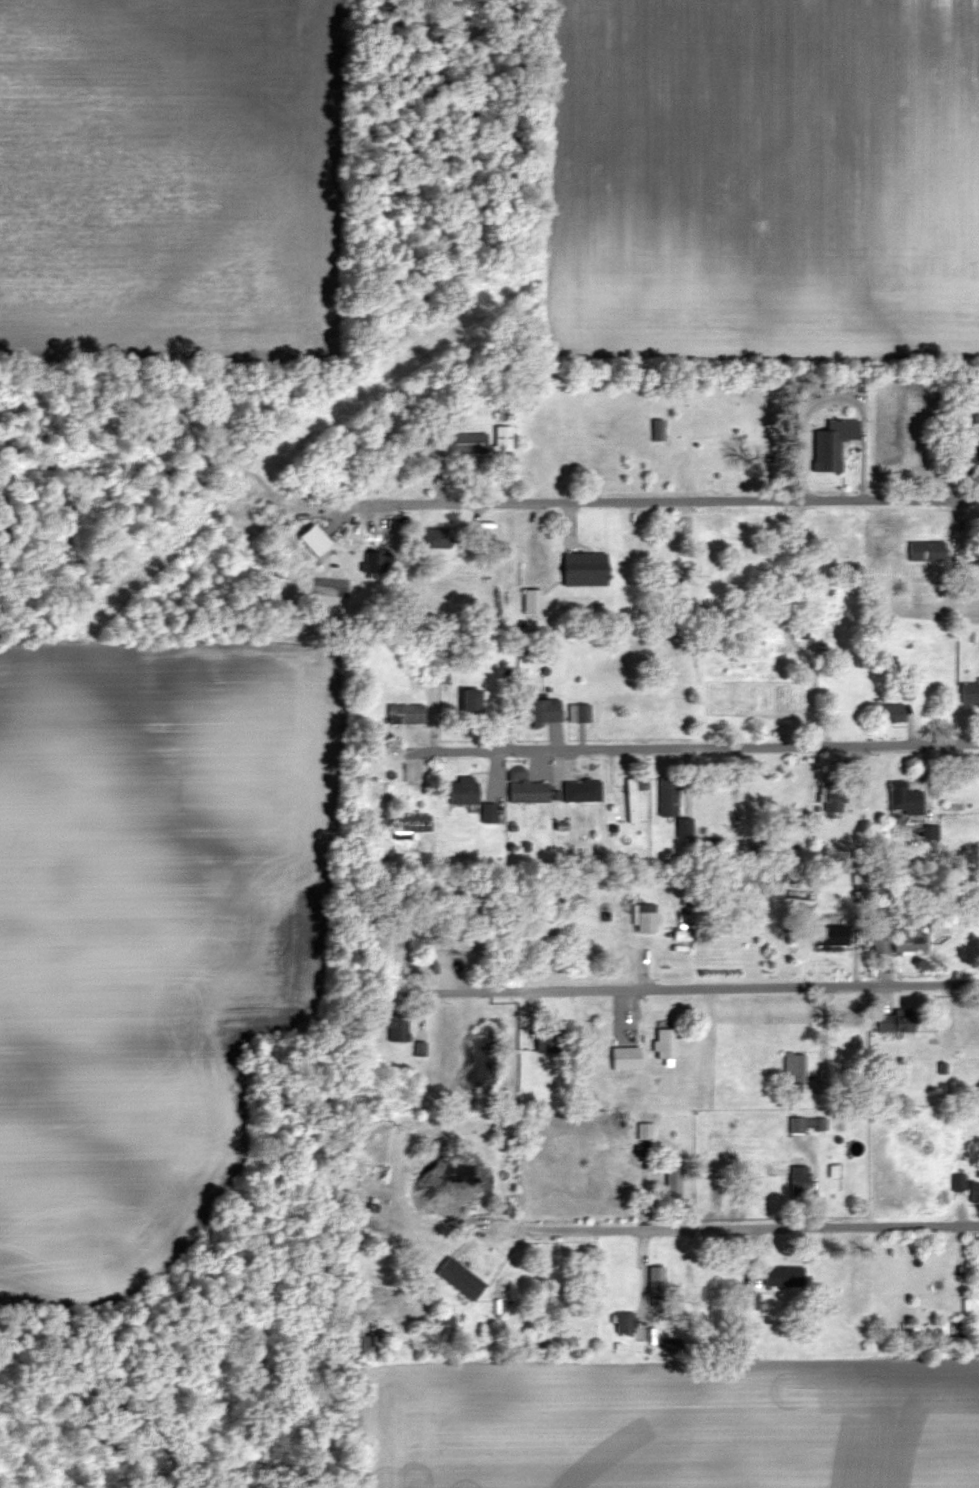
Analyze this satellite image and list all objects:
building: (504, 412)
building: (658, 430)
building: (503, 439)
building: (467, 444)
building: (827, 451)
building: (966, 456)
road: (682, 501)
building: (436, 538)
building: (926, 551)
building: (372, 563)
building: (585, 570)
building: (531, 602)
building: (969, 692)
building: (472, 701)
building: (541, 710)
building: (578, 712)
building: (890, 712)
building: (405, 713)
road: (703, 747)
building: (526, 786)
building: (464, 789)
building: (582, 790)
building: (668, 796)
building: (632, 799)
building: (833, 799)
building: (906, 799)
building: (488, 812)
building: (372, 823)
building: (412, 823)
building: (684, 827)
building: (645, 917)
building: (910, 936)
building: (880, 943)
road: (703, 989)
building: (895, 1020)
building: (396, 1026)
building: (549, 1040)
building: (666, 1043)
building: (625, 1058)
building: (794, 1069)
building: (807, 1124)
building: (644, 1131)
building: (958, 1182)
building: (673, 1183)
building: (799, 1183)
building: (974, 1191)
road: (738, 1227)
building: (784, 1275)
building: (460, 1277)
building: (656, 1281)
building: (749, 1300)
building: (624, 1322)
building: (445, 1325)
building: (370, 1343)

